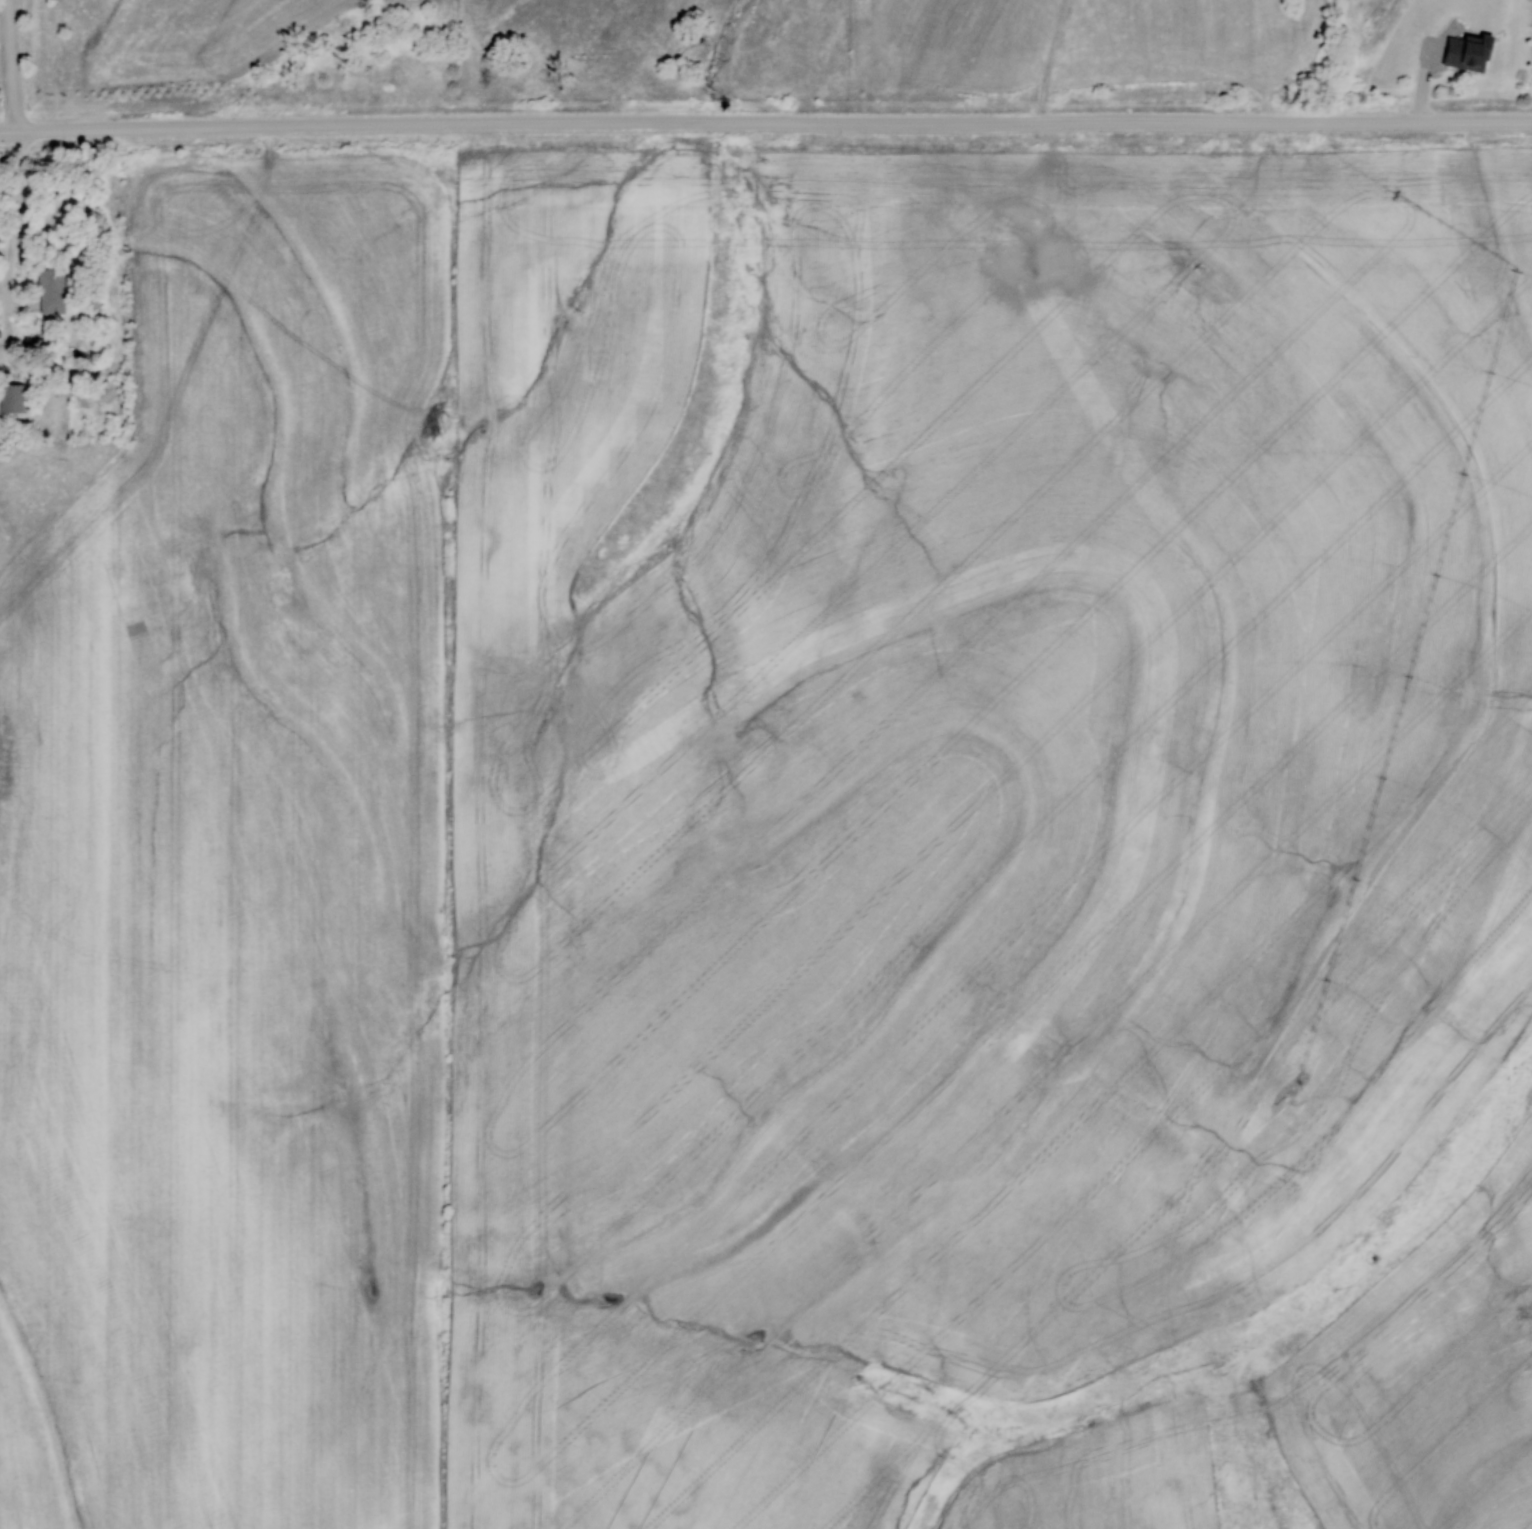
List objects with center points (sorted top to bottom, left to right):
building: (1467, 52)
road: (765, 123)
road: (14, 226)
building: (52, 290)
building: (12, 399)

